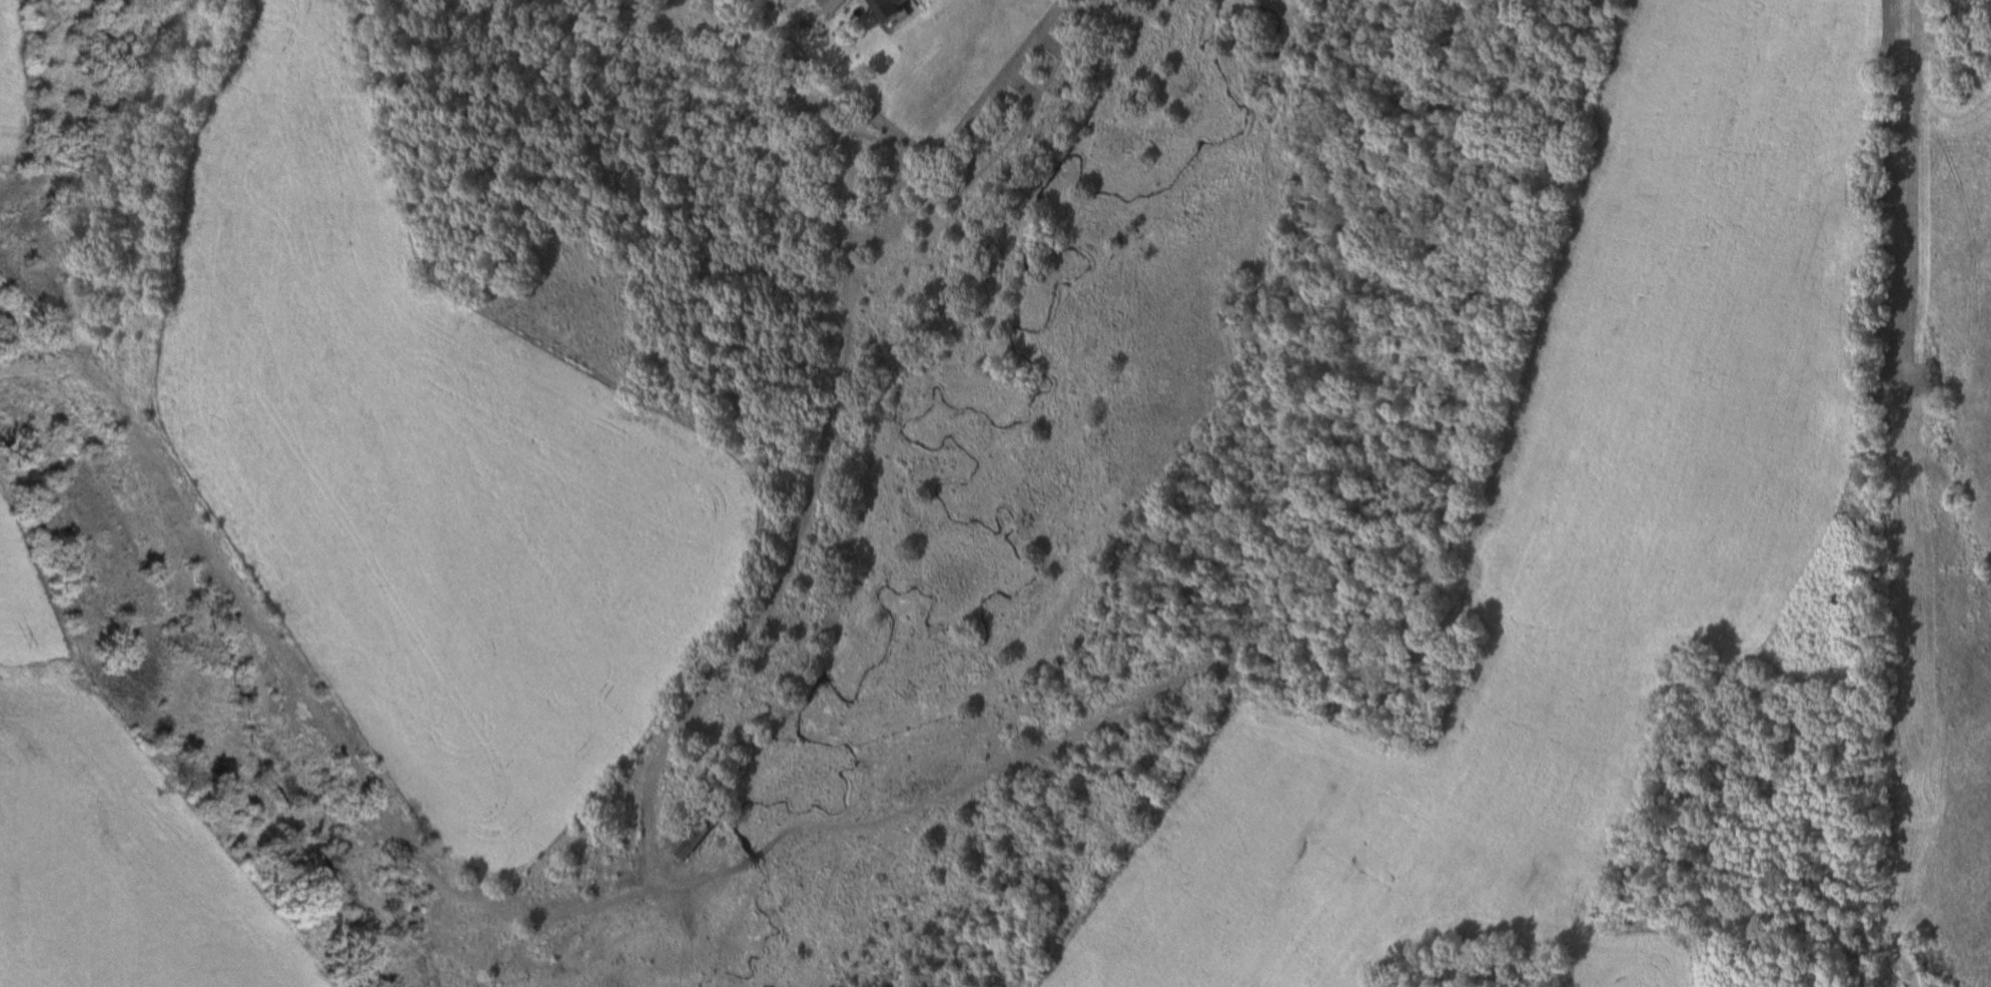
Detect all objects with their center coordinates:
building: (831, 5)
building: (886, 10)
building: (694, 838)

